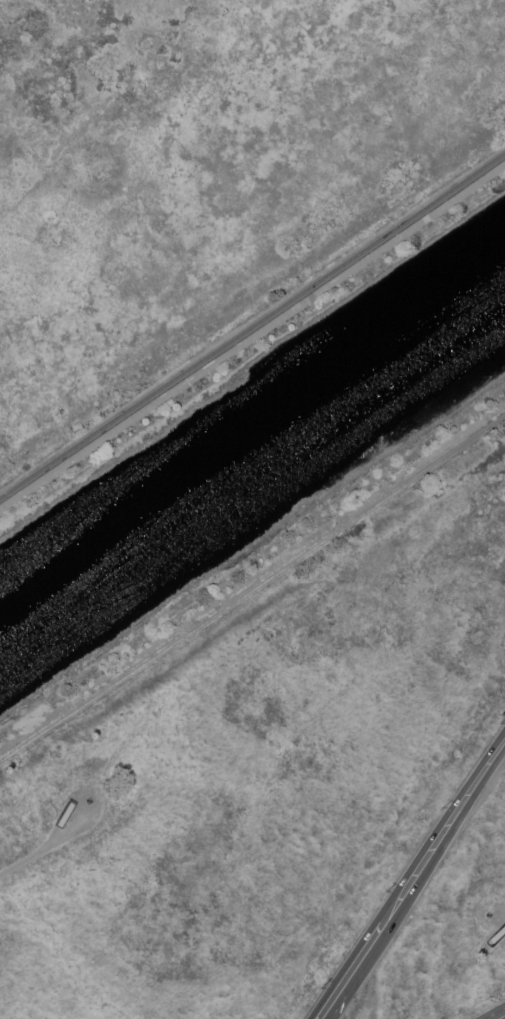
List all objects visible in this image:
road: (252, 335)
road: (253, 590)
road: (462, 803)
road: (64, 818)
road: (51, 846)
road: (382, 926)
road: (333, 1001)
road: (342, 1001)
road: (501, 1016)

